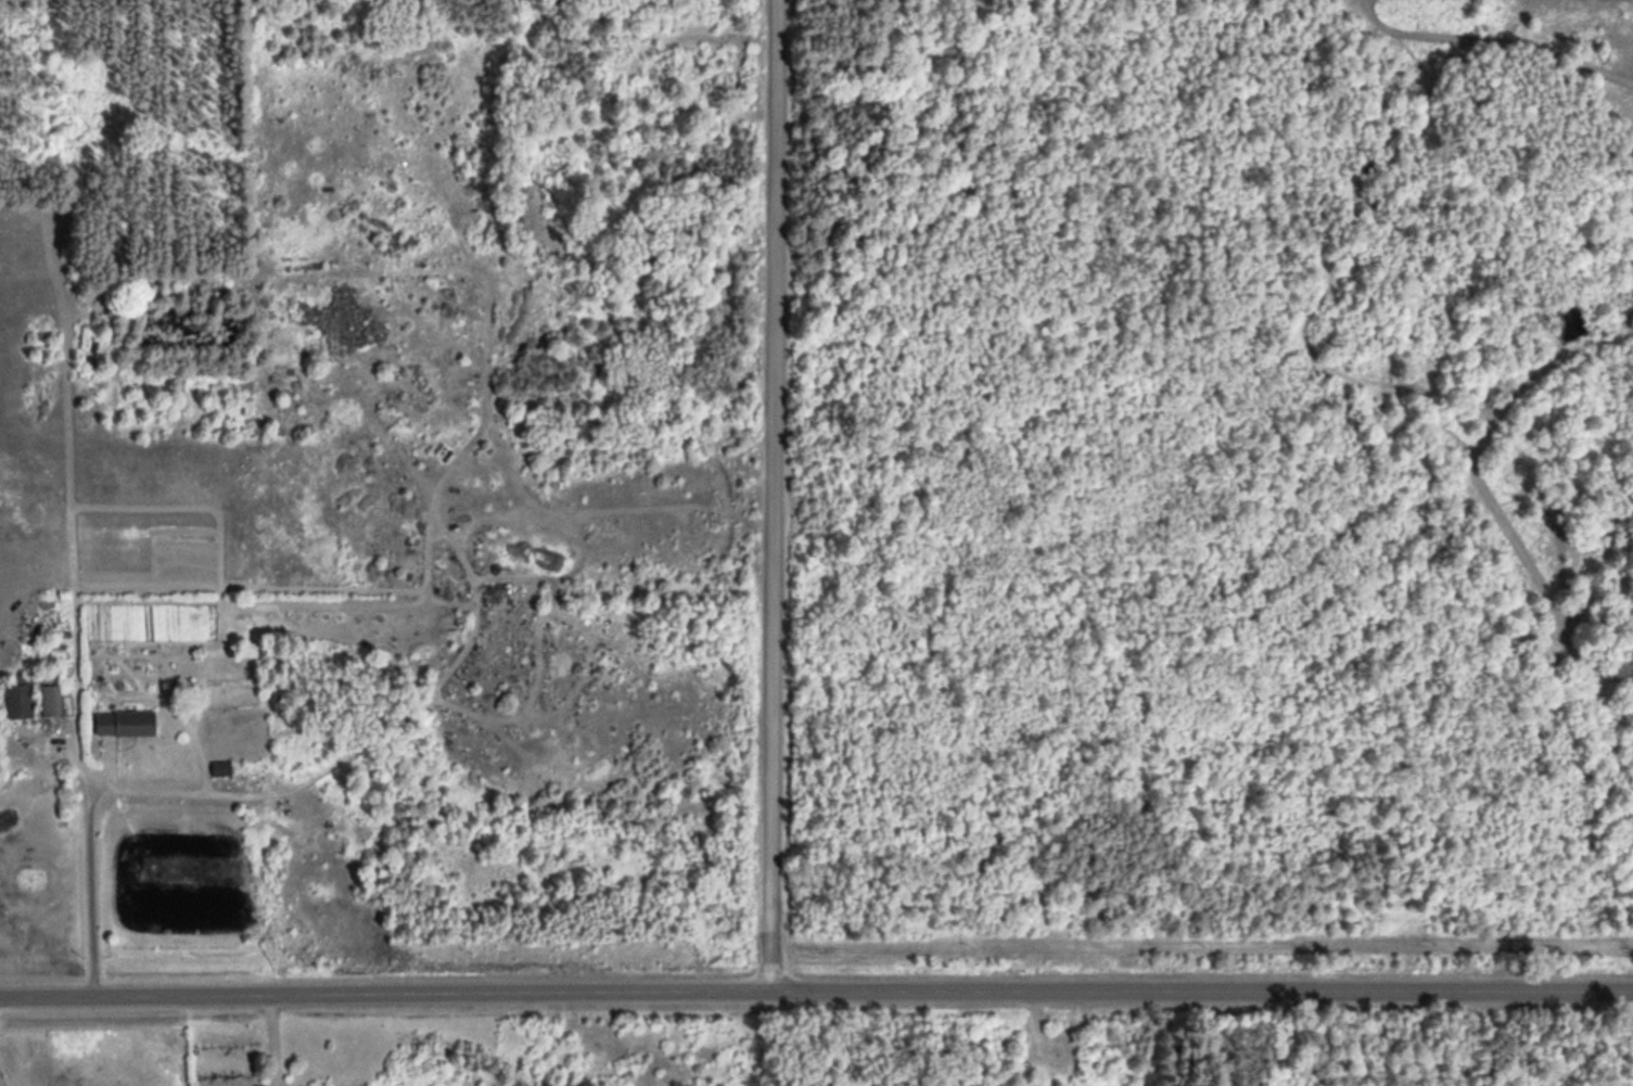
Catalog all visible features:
road: (776, 495)
building: (48, 699)
building: (15, 700)
building: (120, 723)
building: (218, 766)
road: (816, 989)

